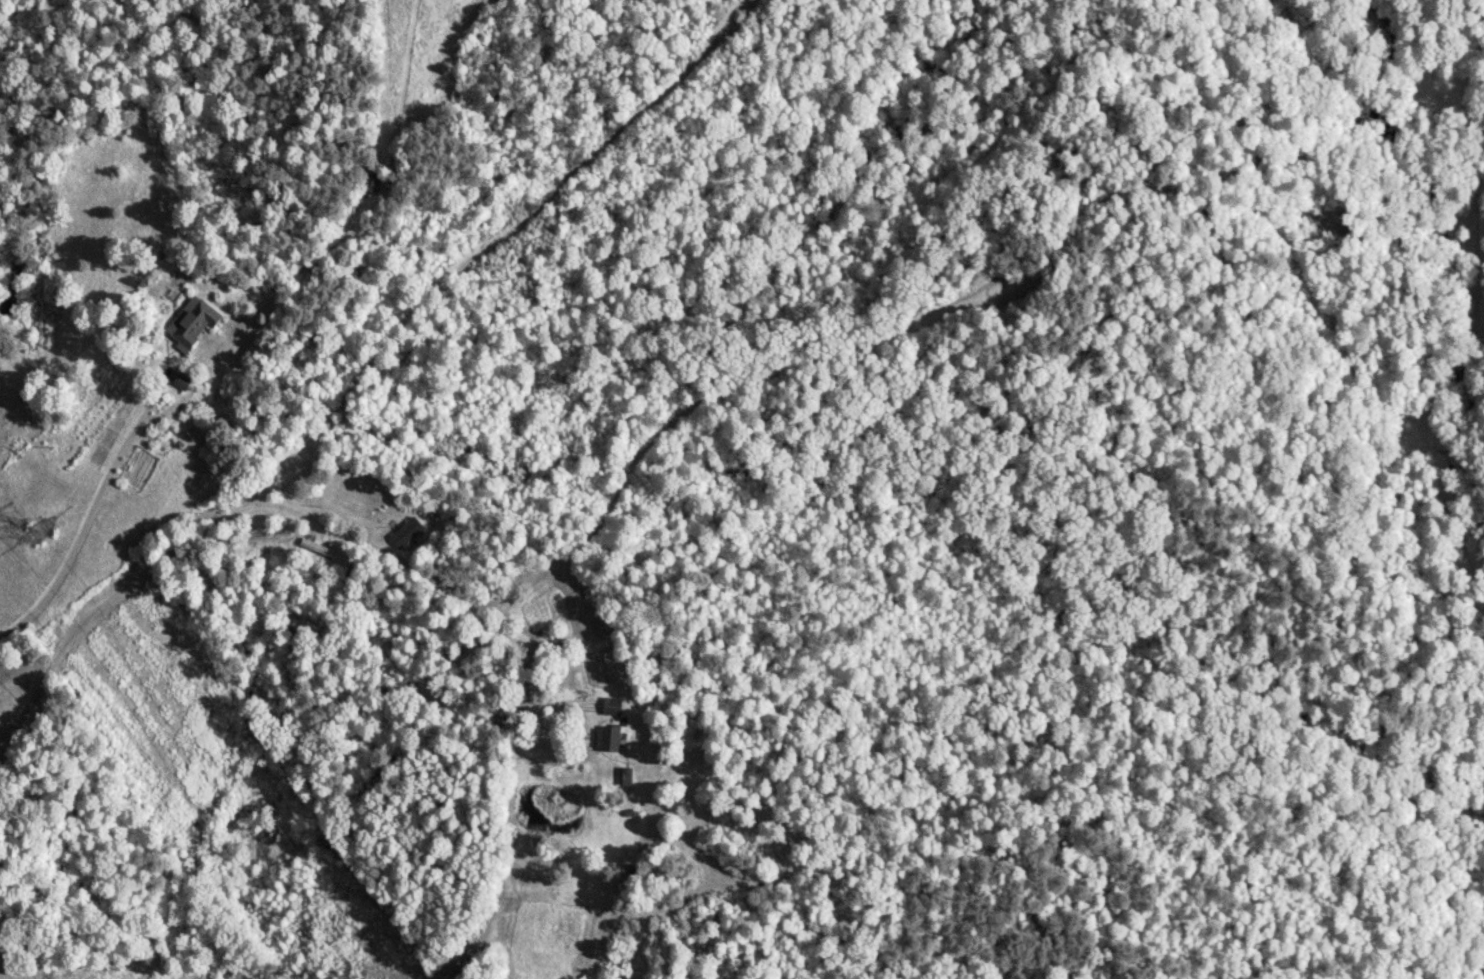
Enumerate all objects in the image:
building: (192, 326)
power tower: (45, 531)
building: (407, 534)
building: (320, 549)
building: (608, 739)

